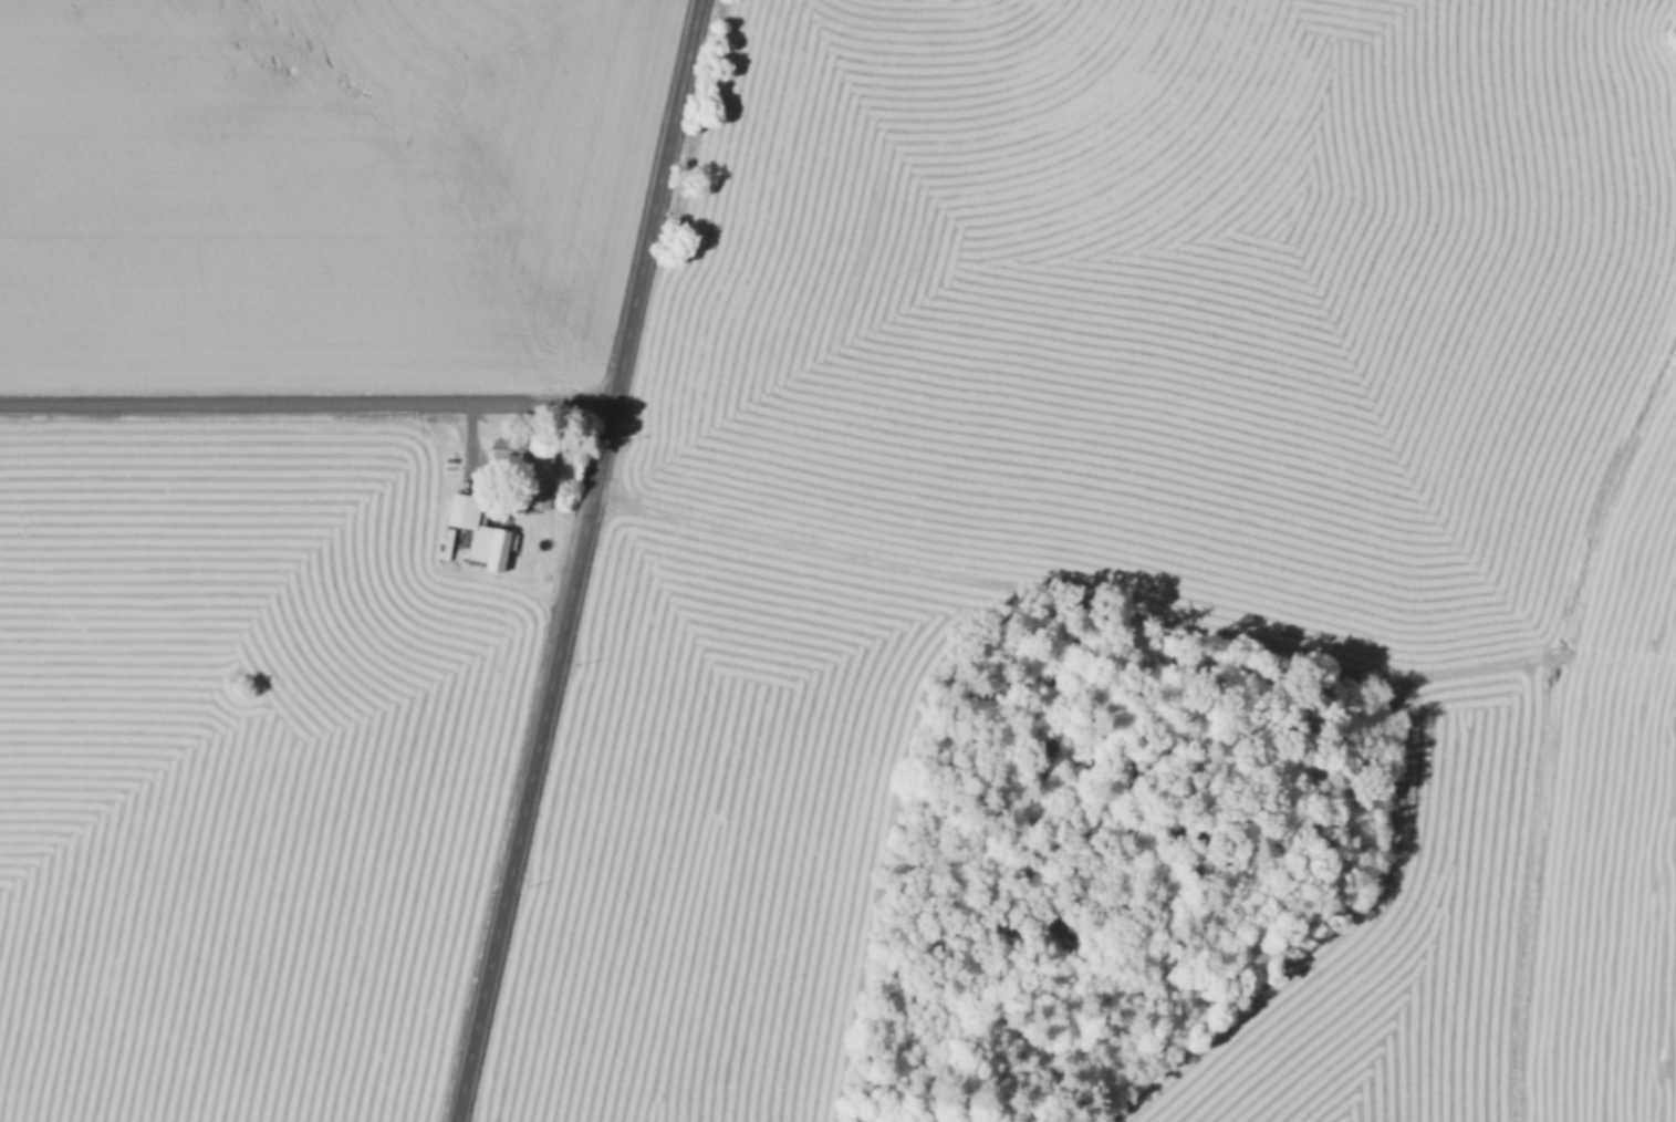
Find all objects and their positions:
crop: (322, 190)
road: (305, 402)
building: (507, 447)
building: (537, 479)
building: (485, 530)
road: (576, 561)
road: (1131, 609)

